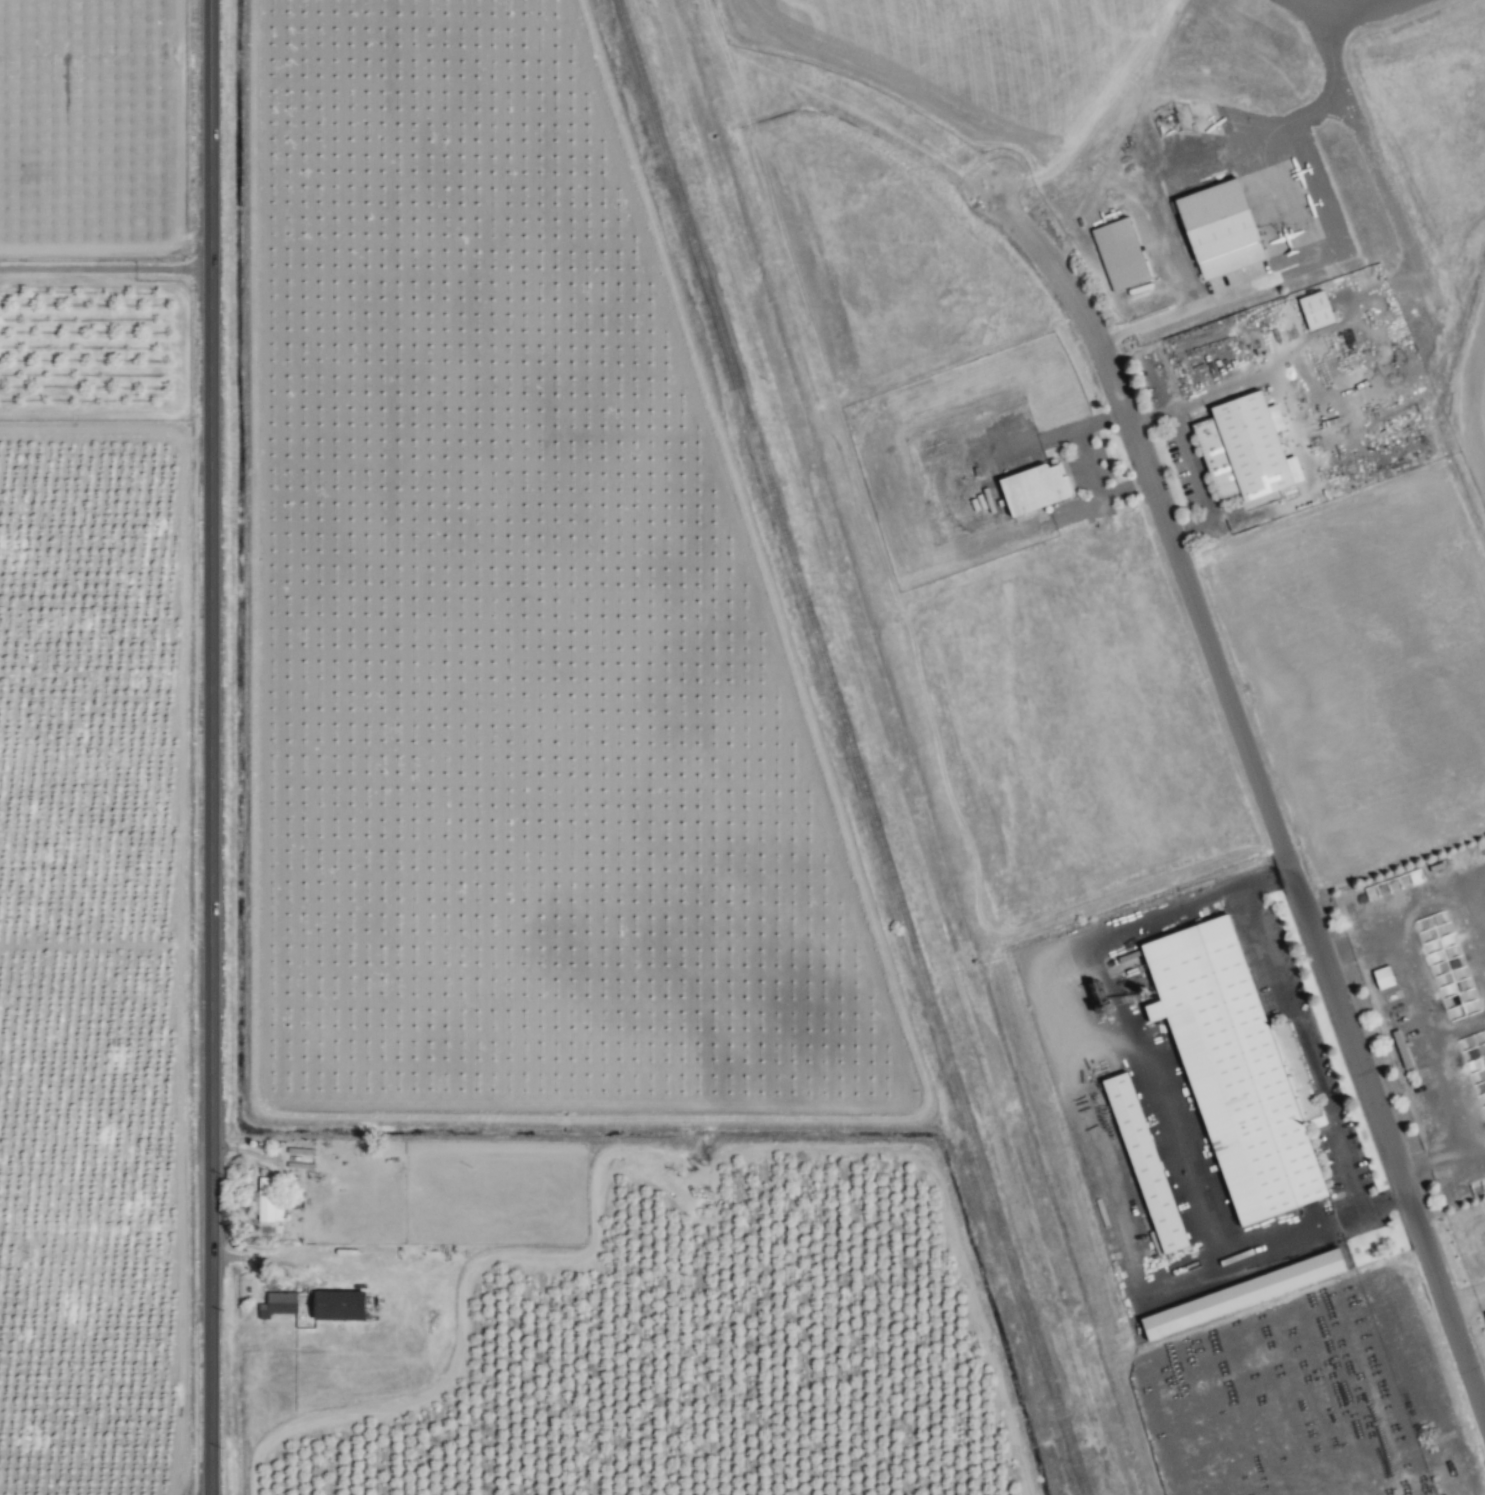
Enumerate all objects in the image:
airport taxiway: (1345, 16)
airport apron: (1253, 171)
airport hangar: (1216, 228)
building: (1216, 228)
airport hangar: (1117, 254)
building: (1117, 254)
road: (105, 269)
road: (1180, 309)
building: (1313, 311)
building: (1237, 448)
road: (1191, 466)
building: (1030, 488)
road: (212, 747)
railway: (850, 747)
road: (1266, 806)
building: (1381, 978)
road: (1276, 985)
road: (1424, 1042)
building: (1235, 1069)
building: (1141, 1164)
road: (1353, 1188)
building: (269, 1200)
building: (1239, 1294)
building: (280, 1305)
building: (343, 1305)
building: (1484, 1315)

